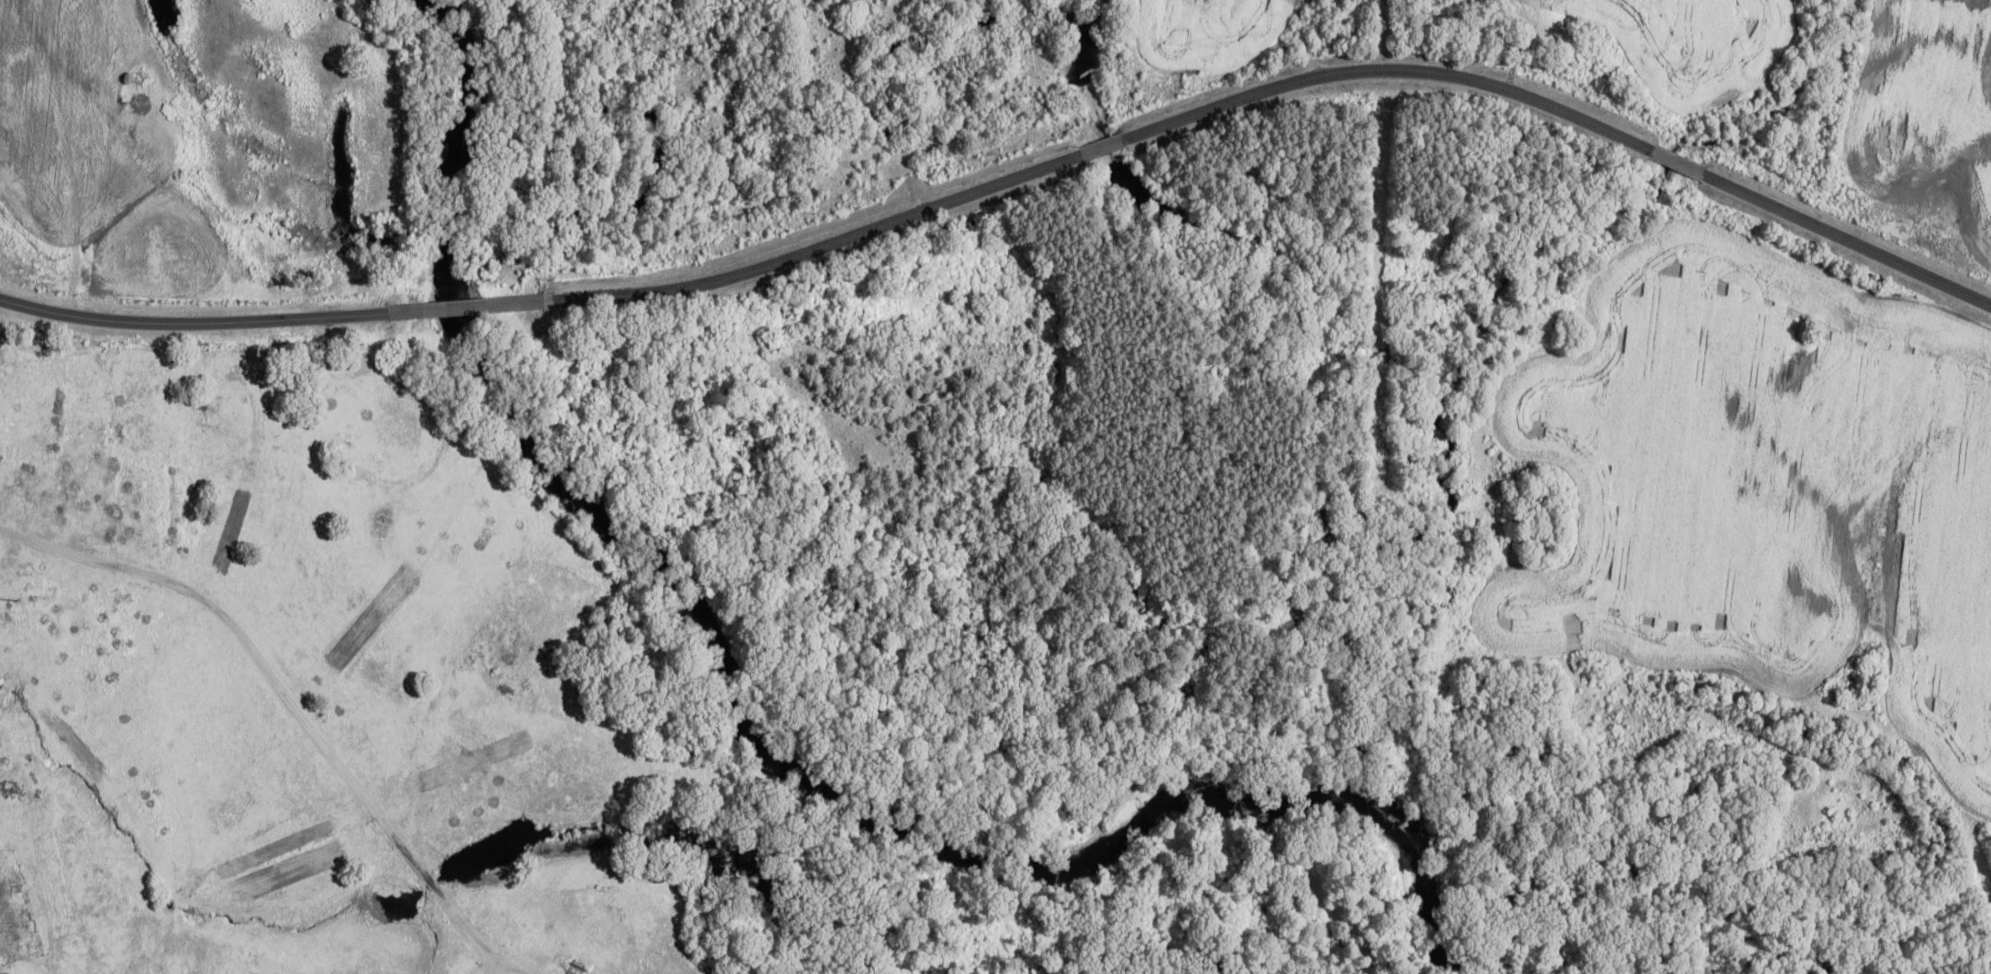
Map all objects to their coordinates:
road: (1392, 68)
road: (1107, 146)
road: (1681, 162)
road: (1850, 239)
road: (825, 243)
road: (472, 307)
road: (192, 322)
road: (290, 704)
river: (758, 740)
road: (492, 966)

